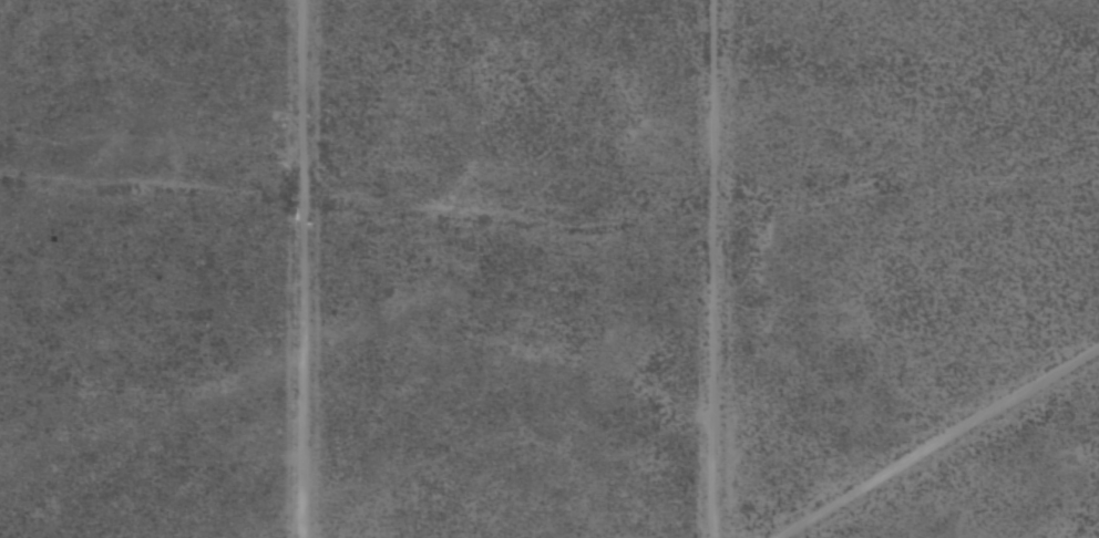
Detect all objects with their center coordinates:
road: (311, 269)
road: (725, 269)
road: (936, 442)

